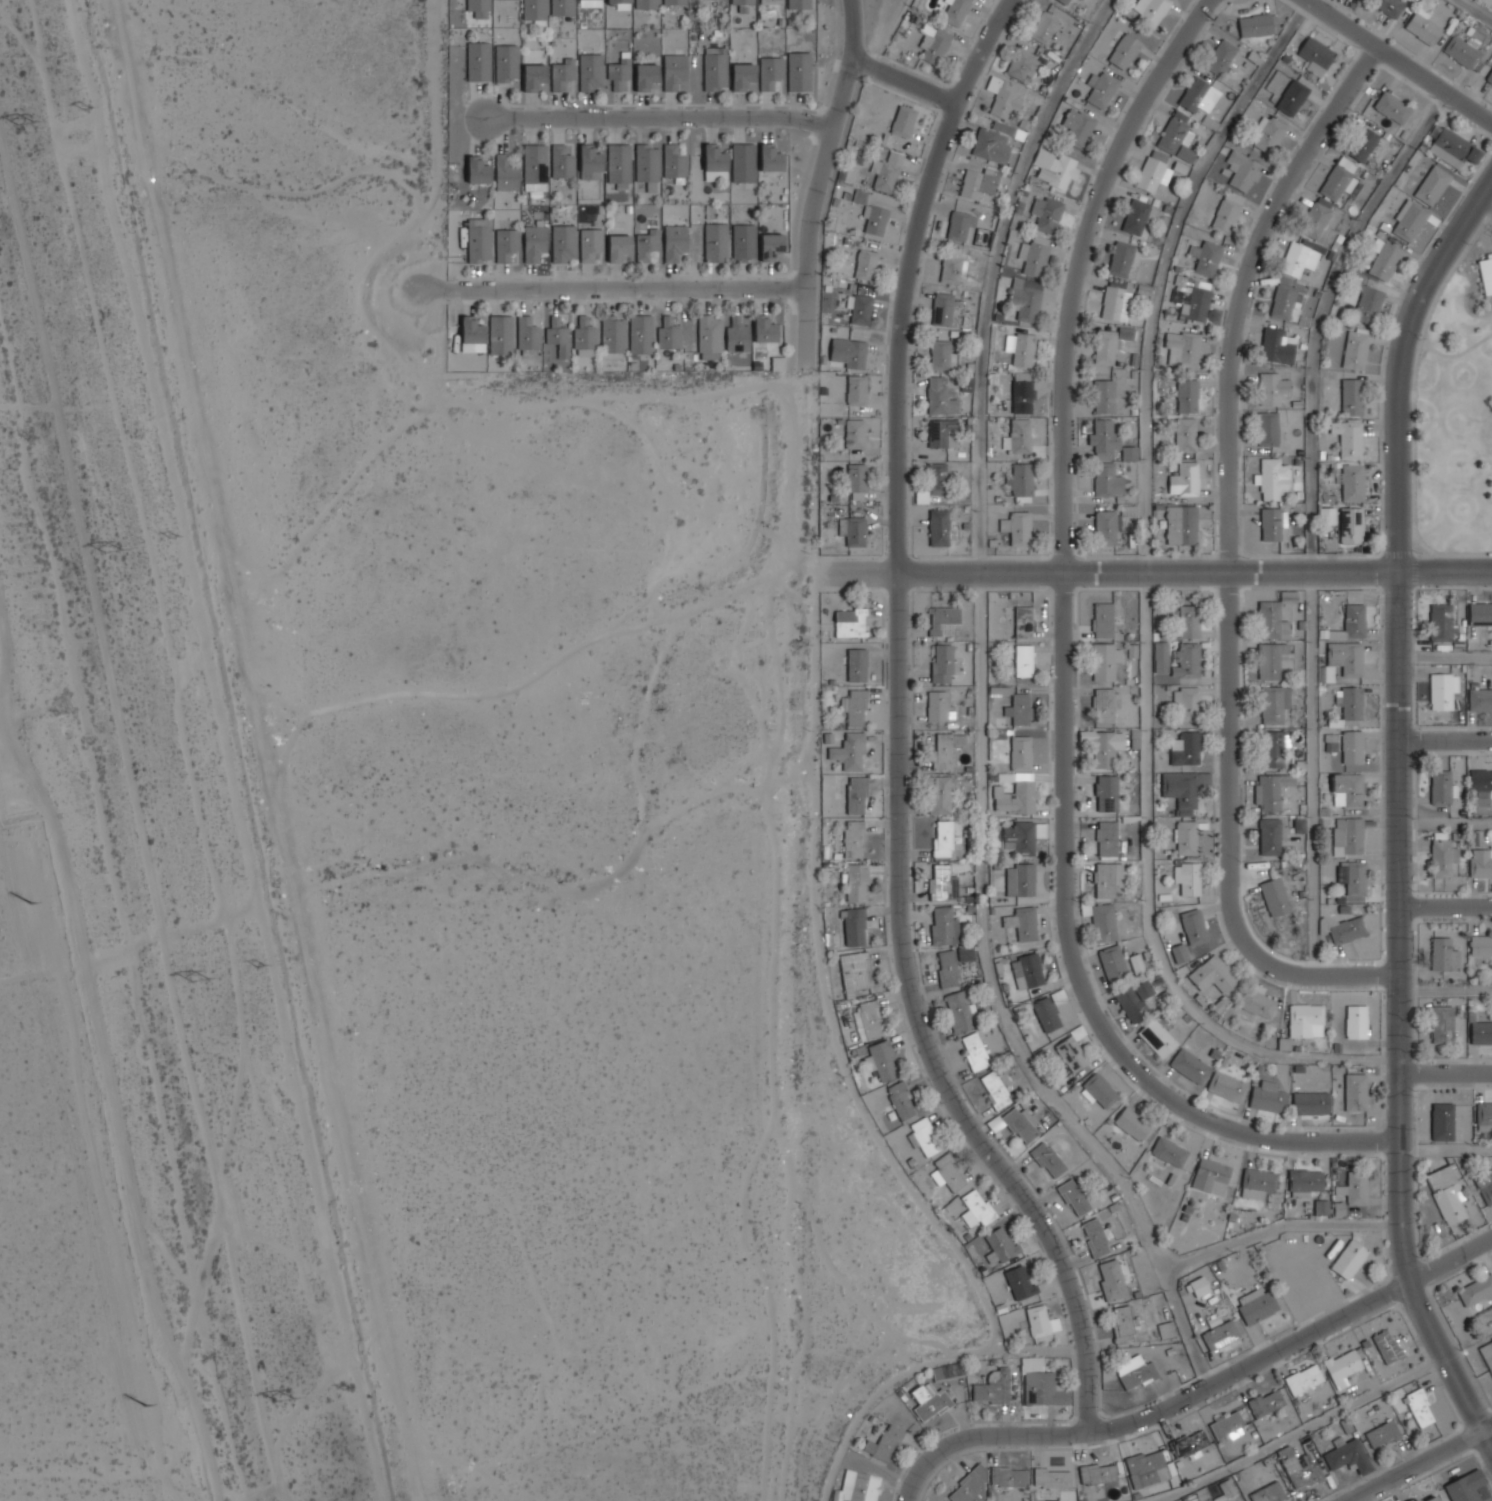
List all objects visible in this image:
building: (617, 0)
building: (742, 1)
building: (1063, 1)
building: (674, 2)
building: (770, 2)
building: (646, 4)
building: (799, 4)
building: (1387, 6)
building: (562, 7)
building: (479, 8)
building: (533, 9)
building: (1150, 10)
building: (955, 11)
road: (1475, 11)
building: (1257, 25)
building: (1422, 26)
building: (1044, 27)
building: (938, 41)
building: (1124, 50)
building: (1462, 50)
building: (1316, 55)
building: (1223, 58)
building: (479, 61)
road: (1398, 61)
building: (505, 63)
building: (1022, 64)
building: (714, 67)
building: (673, 70)
building: (590, 71)
building: (619, 71)
building: (769, 71)
building: (799, 71)
building: (563, 73)
building: (645, 75)
building: (742, 76)
building: (533, 77)
building: (1489, 77)
road: (903, 81)
building: (1100, 89)
building: (1199, 95)
building: (1004, 96)
building: (1292, 97)
building: (1392, 106)
power tower: (85, 109)
road: (661, 119)
building: (903, 121)
power tower: (28, 126)
building: (1077, 129)
building: (1267, 134)
building: (1177, 135)
building: (982, 144)
building: (1362, 144)
building: (1453, 148)
building: (770, 157)
building: (714, 158)
building: (591, 160)
building: (561, 161)
building: (673, 162)
building: (743, 162)
building: (619, 163)
building: (646, 163)
building: (534, 167)
building: (1054, 167)
building: (1242, 170)
building: (478, 171)
building: (886, 172)
building: (506, 173)
building: (1154, 174)
building: (1338, 179)
road: (817, 180)
building: (978, 183)
building: (1432, 184)
road: (1486, 203)
building: (1226, 213)
building: (1046, 214)
building: (1136, 215)
building: (874, 219)
building: (1409, 219)
building: (1314, 220)
parking lot: (1489, 225)
building: (958, 226)
road: (1480, 227)
road: (1486, 231)
building: (479, 240)
building: (534, 242)
building: (715, 242)
building: (743, 242)
building: (563, 243)
building: (506, 244)
building: (589, 244)
building: (646, 244)
building: (770, 246)
building: (617, 247)
building: (1034, 255)
building: (1206, 257)
building: (1300, 257)
building: (1121, 259)
building: (1384, 259)
building: (865, 265)
building: (951, 270)
building: (1487, 272)
road: (635, 289)
building: (1191, 297)
building: (1025, 299)
building: (1116, 299)
building: (1282, 302)
building: (941, 309)
building: (858, 319)
building: (763, 329)
building: (474, 334)
building: (640, 334)
building: (668, 334)
building: (500, 335)
building: (612, 335)
building: (527, 337)
building: (557, 337)
building: (584, 337)
building: (709, 337)
building: (737, 337)
road: (1424, 340)
building: (1108, 344)
building: (1184, 346)
building: (1277, 346)
building: (1021, 349)
building: (1355, 349)
building: (848, 352)
road: (1460, 353)
building: (940, 354)
building: (777, 364)
road: (1400, 365)
building: (966, 383)
building: (1271, 388)
building: (856, 390)
building: (1105, 395)
building: (1187, 395)
building: (1352, 396)
building: (938, 398)
road: (1414, 410)
park: (1456, 415)
building: (1268, 428)
building: (854, 434)
building: (941, 434)
building: (1185, 434)
building: (1018, 436)
building: (1103, 437)
building: (1348, 437)
building: (1127, 452)
building: (936, 478)
building: (1273, 478)
building: (1022, 479)
building: (1106, 479)
building: (1185, 479)
building: (856, 481)
building: (1352, 481)
building: (921, 495)
road: (1310, 514)
building: (1328, 515)
building: (1111, 524)
building: (1181, 524)
building: (1271, 524)
building: (1351, 525)
building: (937, 527)
building: (1019, 528)
building: (854, 531)
power tower: (173, 539)
road: (1423, 543)
power tower: (111, 548)
road: (1229, 558)
road: (1444, 571)
road: (1148, 572)
road: (1143, 598)
building: (1480, 613)
building: (1103, 619)
building: (943, 620)
building: (1271, 620)
building: (1189, 621)
building: (1023, 622)
building: (1441, 622)
building: (849, 623)
building: (1350, 624)
building: (1161, 650)
road: (1445, 656)
building: (1105, 660)
building: (1186, 660)
building: (1273, 660)
building: (1342, 660)
building: (1023, 661)
building: (941, 664)
building: (856, 665)
road: (1064, 669)
building: (1000, 690)
building: (1442, 691)
building: (1480, 699)
building: (1350, 701)
building: (1274, 703)
building: (1105, 704)
building: (1187, 704)
building: (936, 706)
building: (854, 707)
building: (1020, 708)
road: (981, 709)
road: (899, 728)
building: (829, 738)
road: (1445, 739)
building: (1346, 744)
building: (1104, 745)
building: (1275, 746)
building: (1186, 748)
building: (942, 751)
building: (1021, 752)
building: (849, 759)
building: (1442, 786)
building: (1181, 790)
building: (1271, 791)
building: (1348, 791)
building: (1480, 791)
building: (1107, 793)
building: (856, 795)
building: (939, 795)
building: (1014, 795)
road: (1445, 825)
building: (1270, 836)
building: (1348, 836)
building: (1019, 837)
building: (1186, 837)
building: (943, 838)
building: (1107, 838)
building: (852, 839)
building: (1442, 856)
building: (1481, 862)
building: (1188, 876)
building: (1353, 877)
building: (1107, 878)
building: (1020, 879)
building: (856, 883)
building: (942, 884)
building: (1275, 896)
power tower: (32, 903)
road: (1445, 904)
building: (1023, 922)
building: (1104, 922)
building: (943, 925)
building: (1194, 926)
building: (854, 927)
building: (1344, 928)
building: (1481, 945)
building: (969, 952)
building: (1180, 952)
building: (1443, 953)
building: (1113, 962)
building: (1137, 963)
power tower: (261, 968)
building: (947, 969)
building: (1027, 971)
building: (855, 973)
building: (1213, 974)
power tower: (201, 982)
road: (1445, 989)
building: (1135, 999)
building: (1257, 1003)
building: (958, 1011)
building: (1047, 1011)
road: (1398, 1011)
building: (867, 1021)
building: (1305, 1021)
building: (1356, 1022)
building: (1441, 1025)
building: (1481, 1032)
building: (1157, 1038)
building: (974, 1051)
building: (1071, 1054)
building: (883, 1061)
building: (1189, 1066)
road: (1445, 1072)
building: (1226, 1086)
building: (996, 1089)
building: (1098, 1091)
building: (1355, 1092)
building: (1267, 1097)
building: (900, 1100)
building: (1310, 1103)
building: (1484, 1116)
building: (1442, 1122)
building: (1020, 1124)
building: (1131, 1124)
building: (921, 1134)
road: (1445, 1151)
building: (1168, 1152)
building: (1047, 1159)
building: (947, 1173)
building: (1210, 1175)
building: (1304, 1182)
building: (1257, 1183)
building: (1485, 1185)
building: (1354, 1188)
building: (1446, 1194)
building: (1073, 1197)
building: (978, 1207)
building: (1321, 1207)
road: (1277, 1228)
building: (1094, 1237)
building: (1000, 1246)
building: (1348, 1259)
building: (1111, 1281)
building: (1019, 1282)
building: (1198, 1286)
building: (1475, 1290)
building: (1256, 1305)
building: (1037, 1320)
building: (1122, 1324)
building: (1219, 1335)
building: (1386, 1346)
building: (1487, 1355)
building: (1341, 1367)
road: (1235, 1371)
building: (1137, 1375)
building: (1303, 1379)
building: (1041, 1384)
power tower: (345, 1387)
building: (993, 1387)
power tower: (284, 1398)
building: (929, 1401)
building: (1265, 1403)
power tower: (145, 1404)
building: (1419, 1408)
road: (1488, 1428)
road: (1299, 1432)
building: (1382, 1434)
road: (1488, 1439)
building: (883, 1443)
building: (1189, 1444)
building: (1348, 1457)
road: (925, 1462)
road: (1415, 1466)
building: (1146, 1469)
building: (1300, 1471)
building: (1097, 1474)
building: (1008, 1477)
building: (1051, 1478)
building: (969, 1486)
building: (858, 1487)
building: (1464, 1487)
building: (1228, 1491)
building: (1267, 1493)
building: (1430, 1498)

